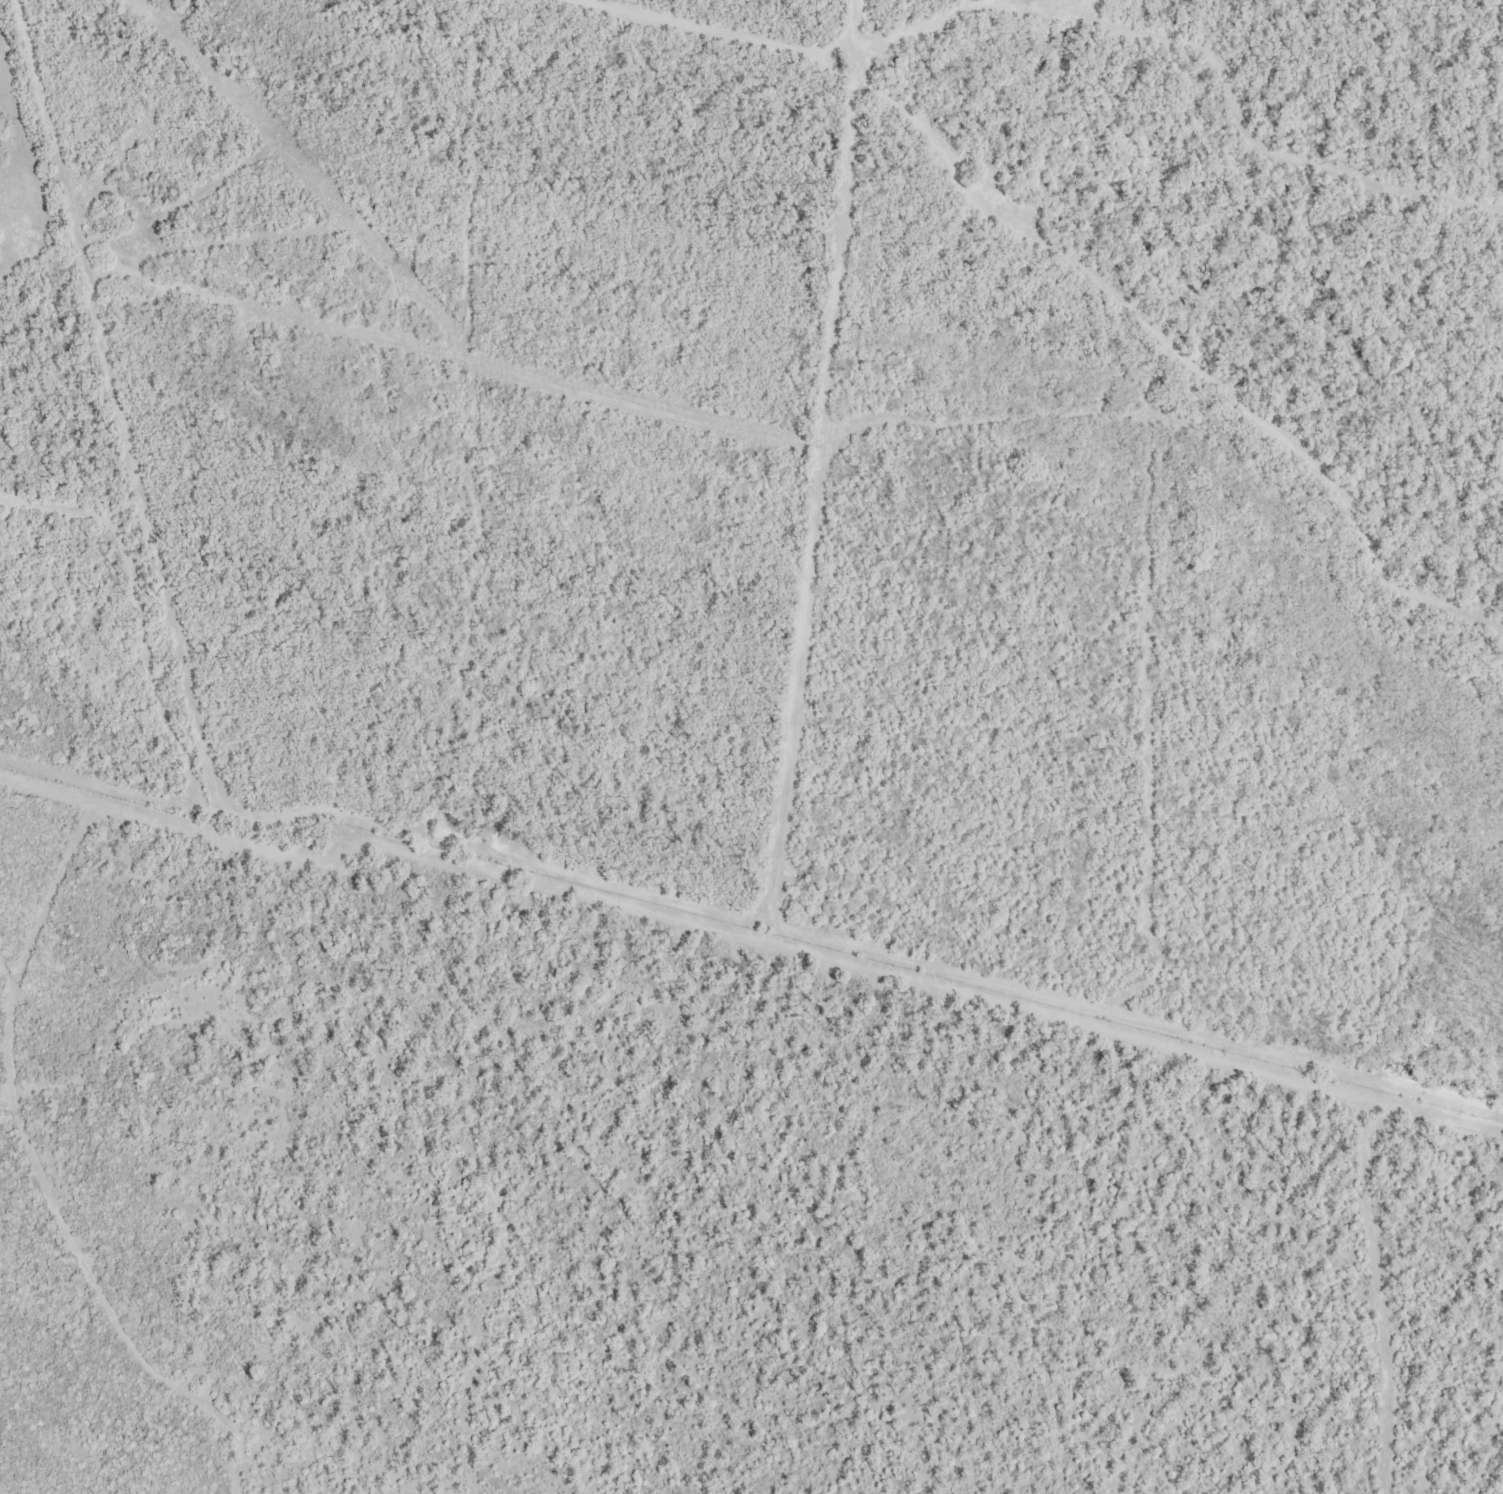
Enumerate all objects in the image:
road: (1133, 278)
road: (786, 455)
road: (498, 880)
road: (1355, 1299)
road: (84, 1301)

